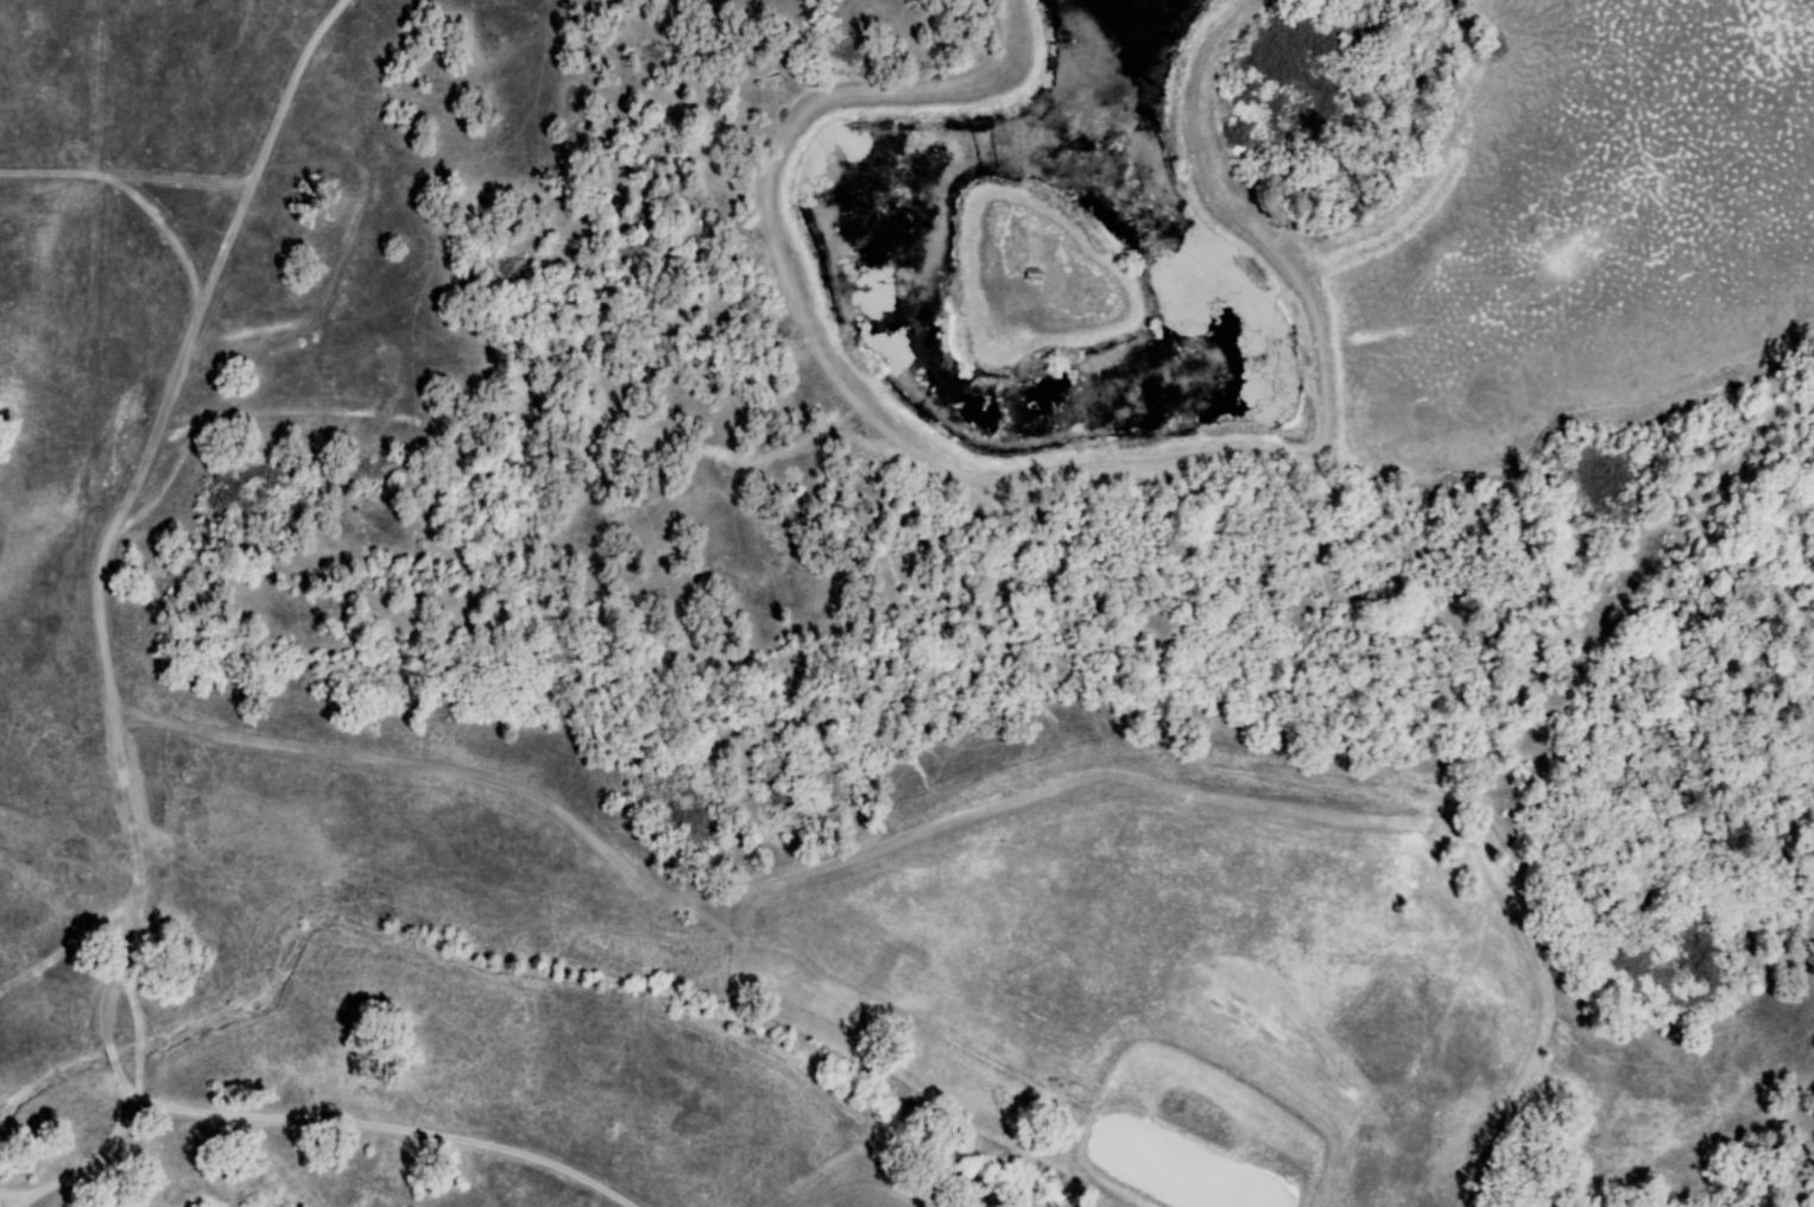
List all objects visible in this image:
road: (1257, 4)
road: (122, 781)

